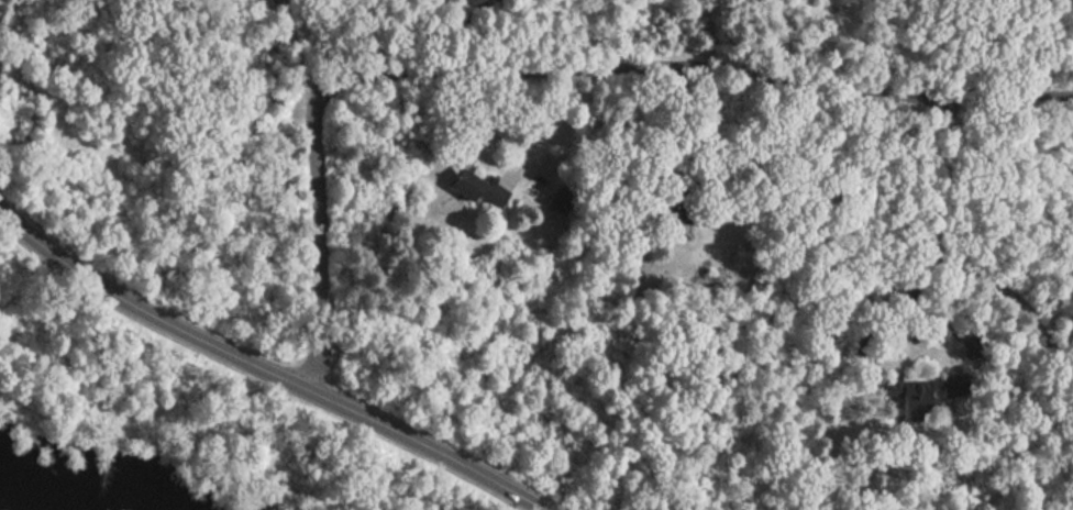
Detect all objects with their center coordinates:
road: (302, 53)
road: (549, 71)
road: (550, 121)
building: (462, 185)
building: (489, 199)
road: (940, 266)
road: (900, 366)
road: (269, 369)
park: (175, 421)
river: (75, 483)

